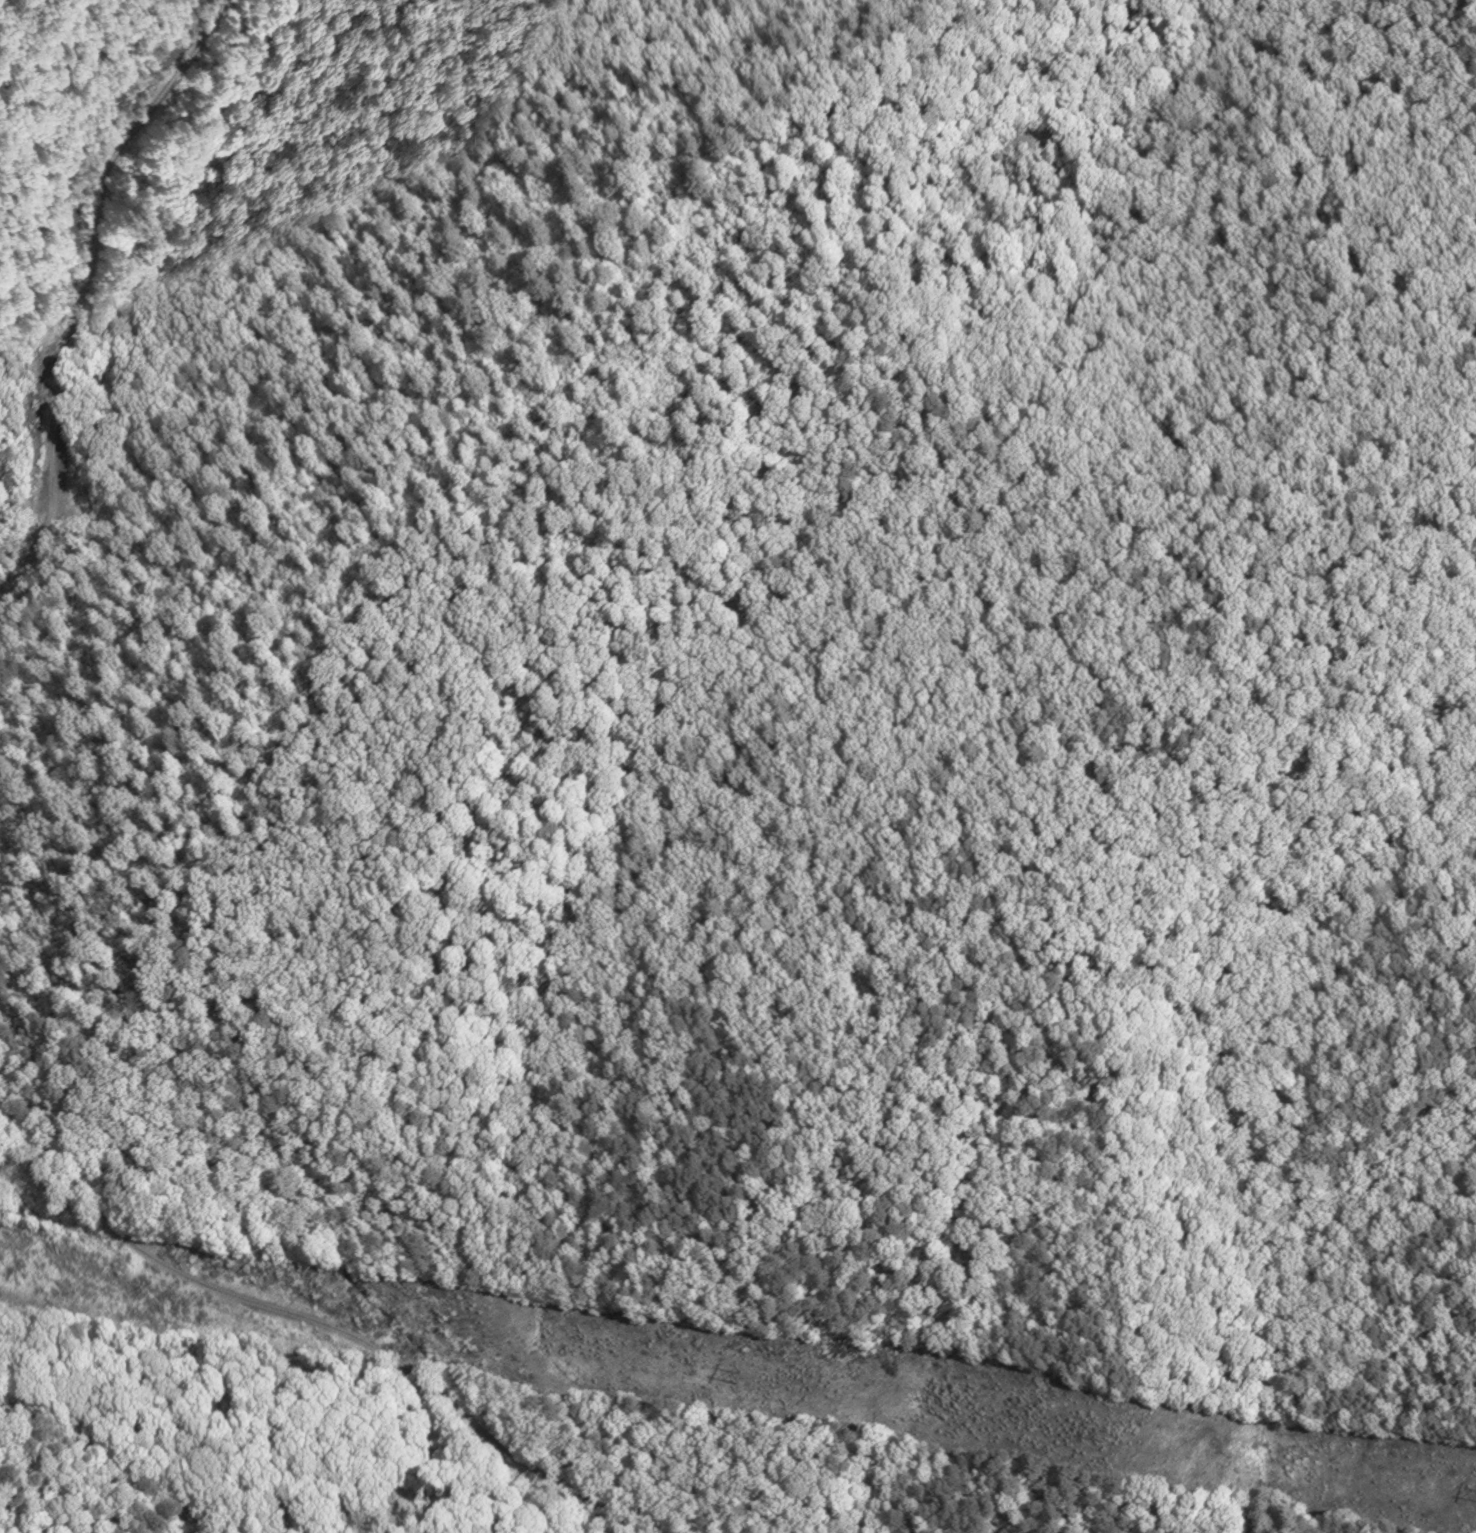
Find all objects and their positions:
road: (86, 289)
road: (323, 1326)
power tower: (739, 1379)
power tower: (1105, 1438)
road: (115, 1459)

